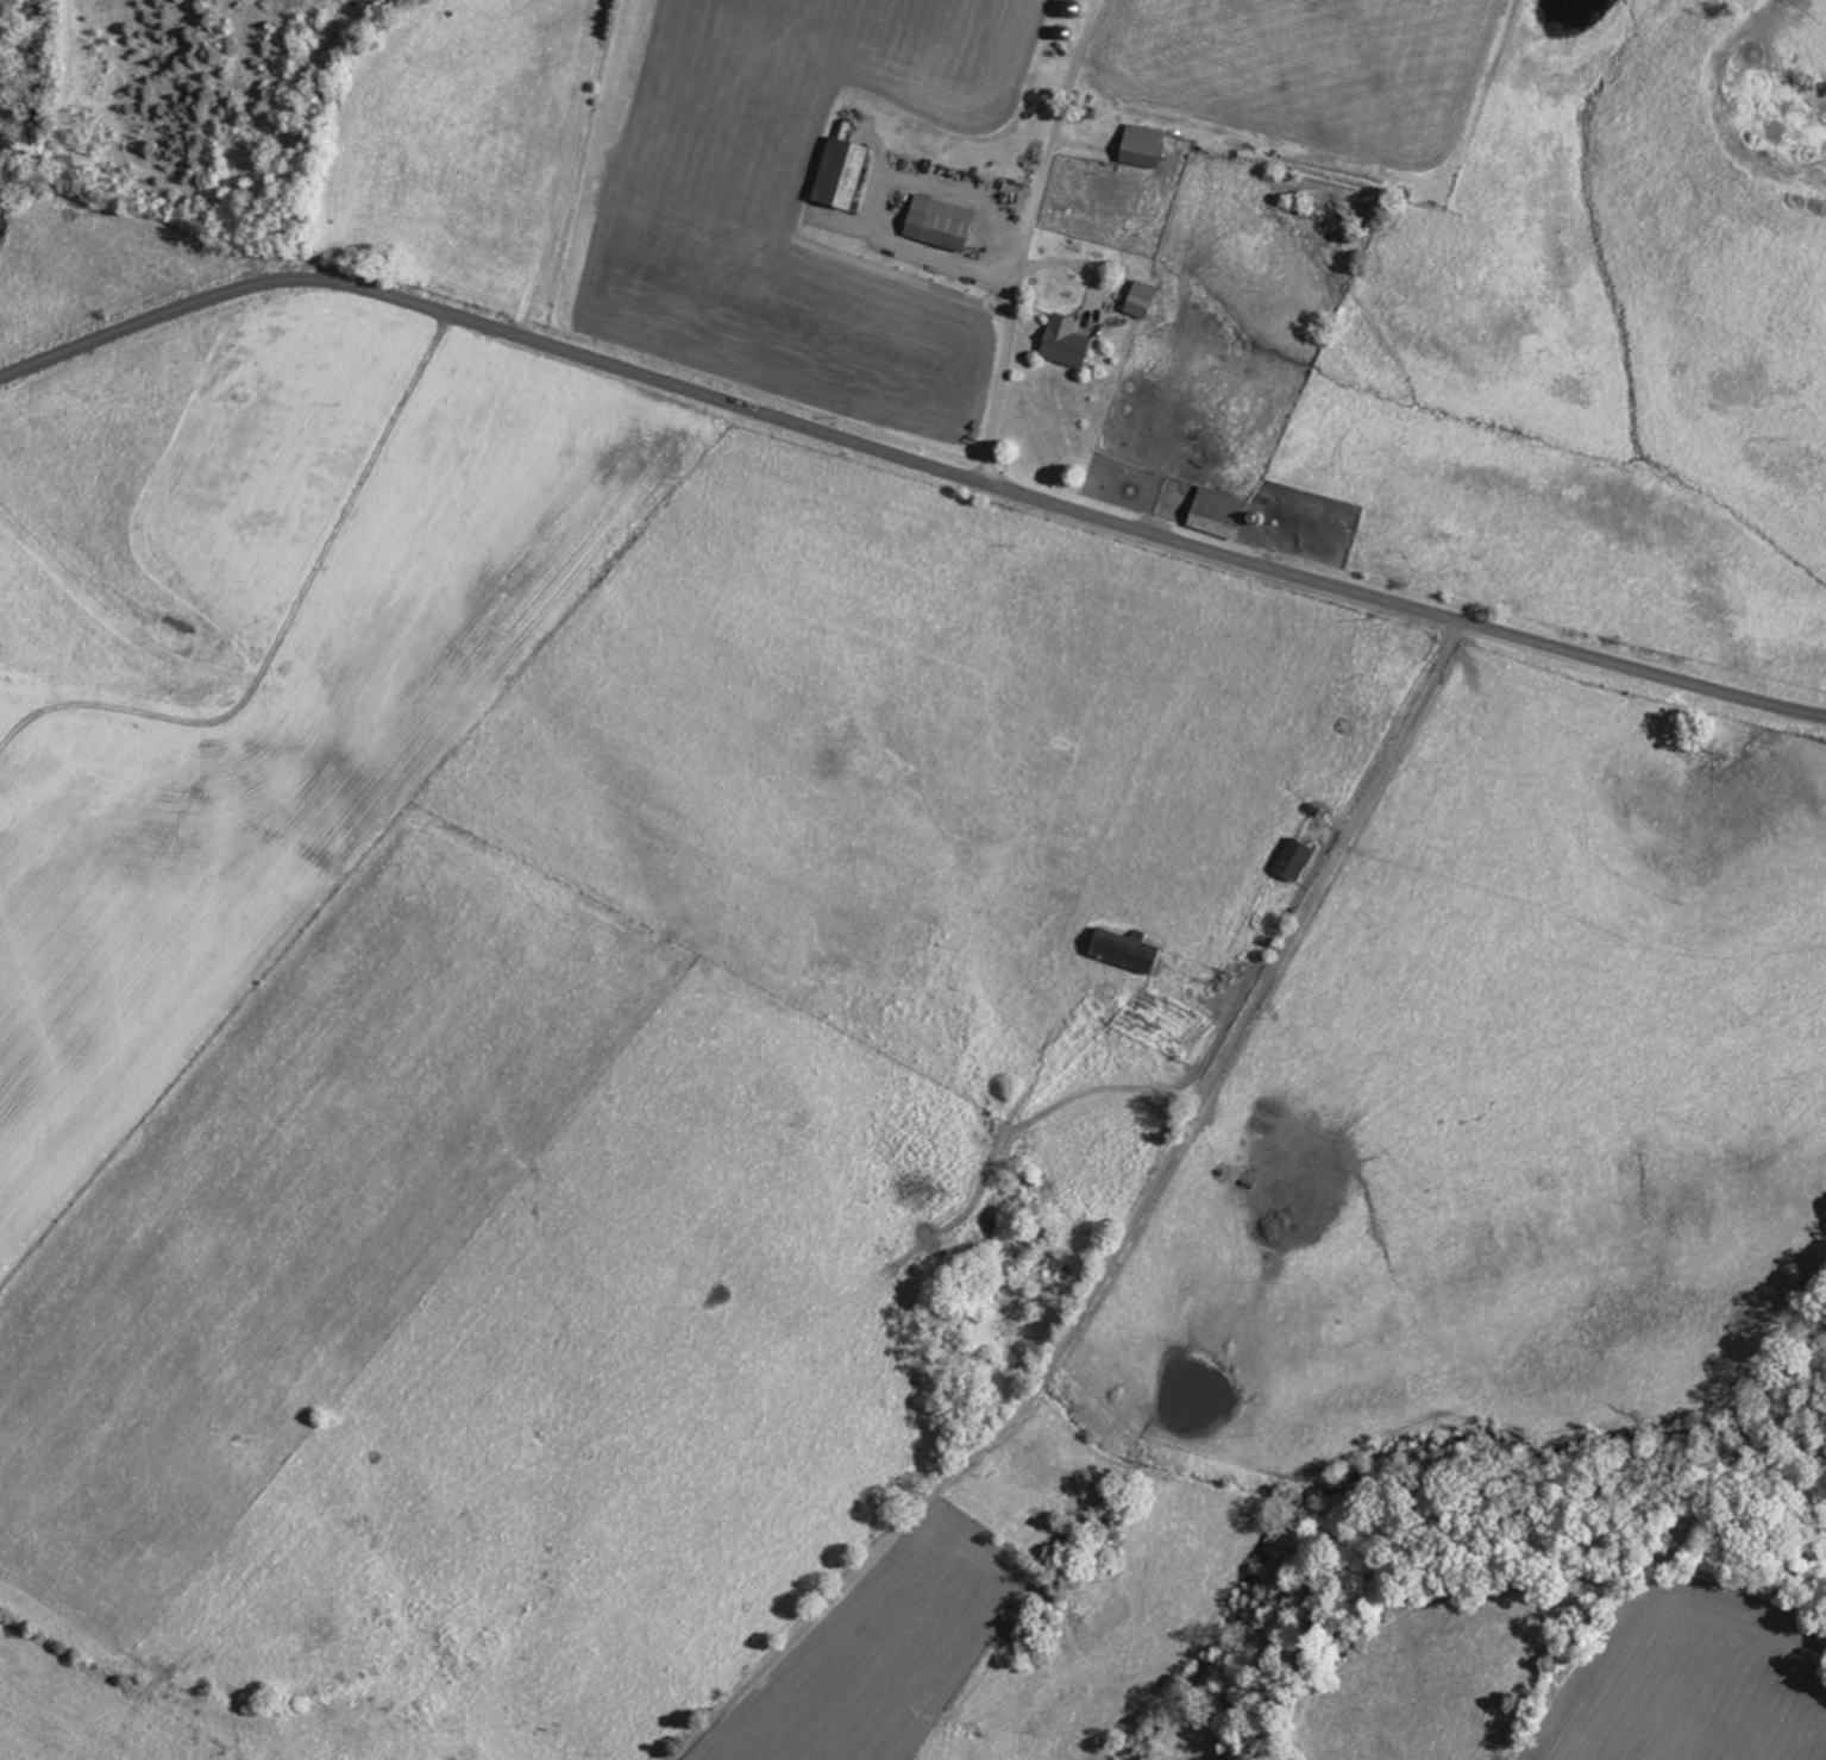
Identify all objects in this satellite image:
building: (1148, 145)
building: (847, 171)
building: (945, 222)
building: (1143, 298)
building: (1071, 340)
road: (908, 459)
building: (1224, 513)
building: (1300, 859)
building: (1132, 951)
road: (1135, 1239)

